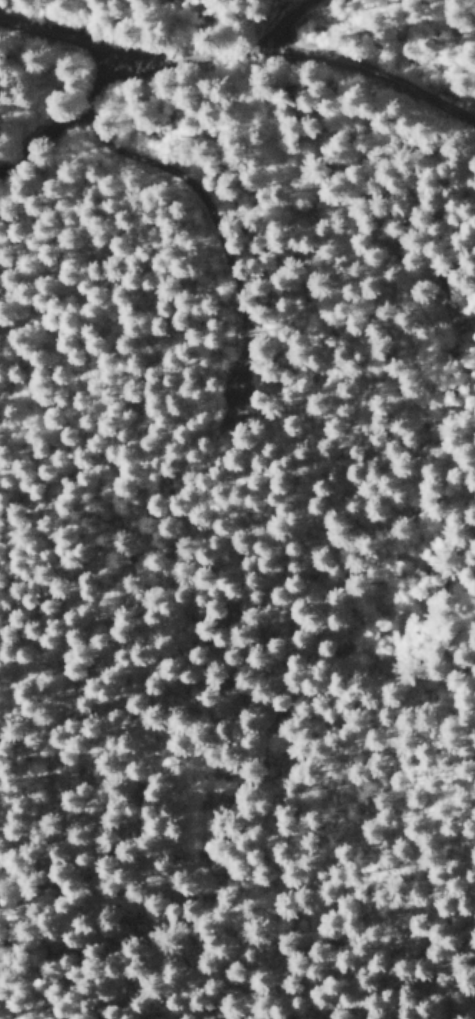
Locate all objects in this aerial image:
road: (261, 65)

